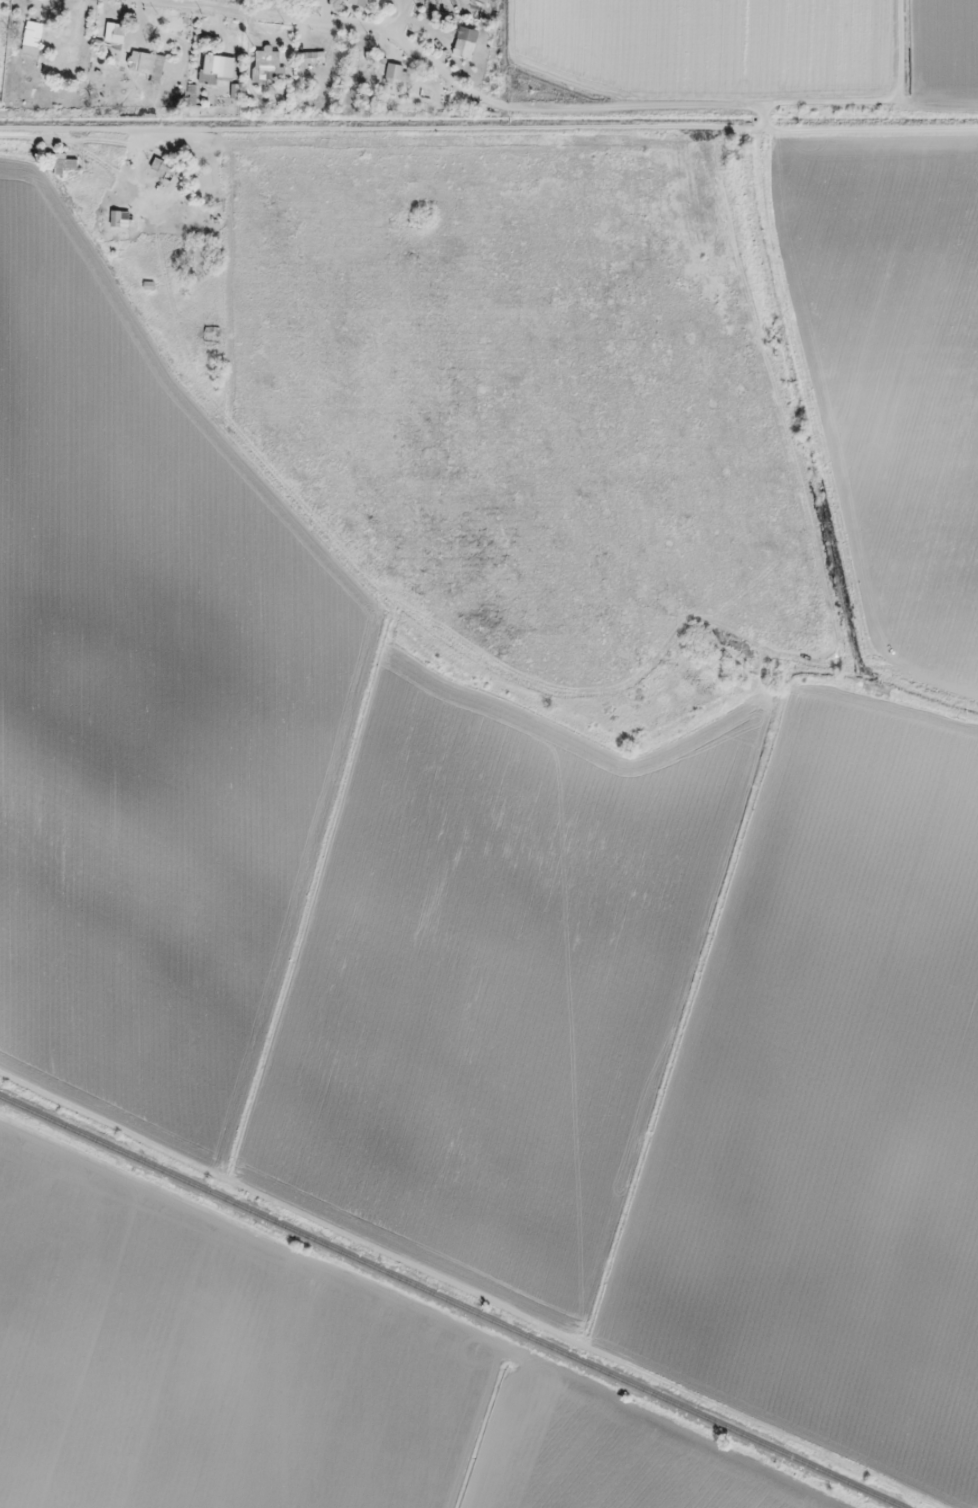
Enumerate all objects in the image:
railway: (453, 1301)

